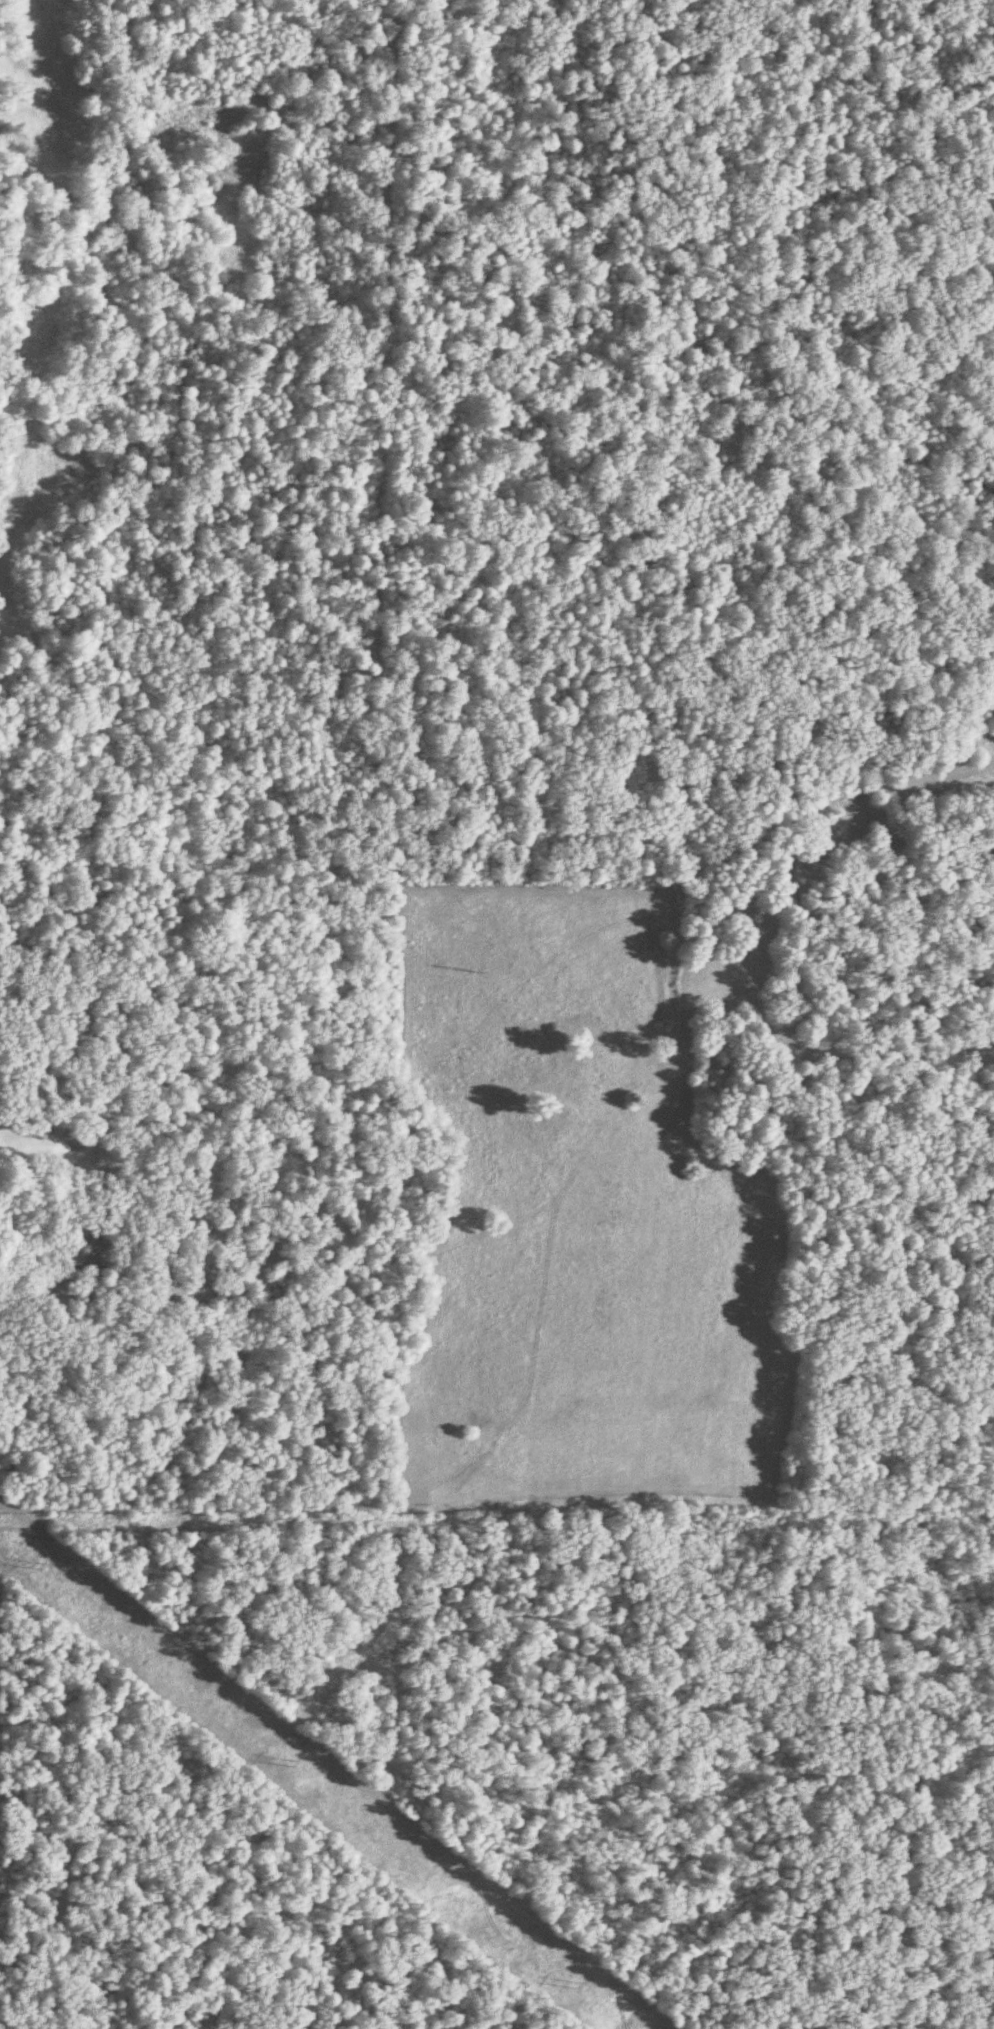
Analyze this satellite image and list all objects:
building: (89, 1254)
road: (53, 1264)

